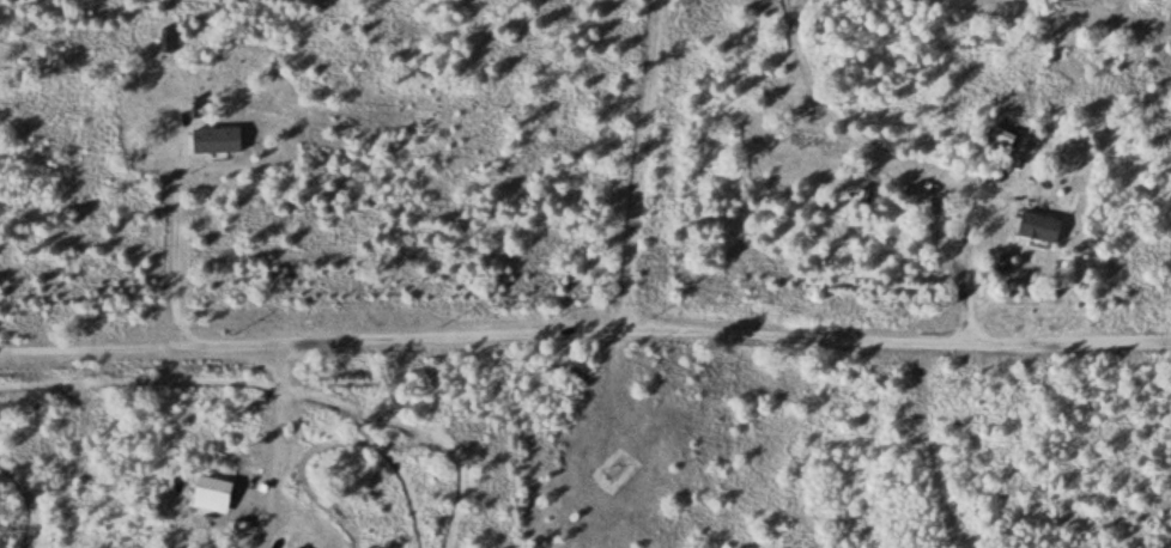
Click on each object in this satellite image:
road: (1066, 13)
building: (219, 138)
building: (823, 142)
road: (643, 162)
road: (890, 162)
road: (1001, 200)
building: (1042, 226)
road: (171, 235)
road: (680, 327)
road: (95, 347)
road: (286, 377)
road: (170, 382)
road: (382, 442)
road: (269, 443)
building: (210, 494)
road: (25, 501)
building: (295, 547)
building: (298, 547)

